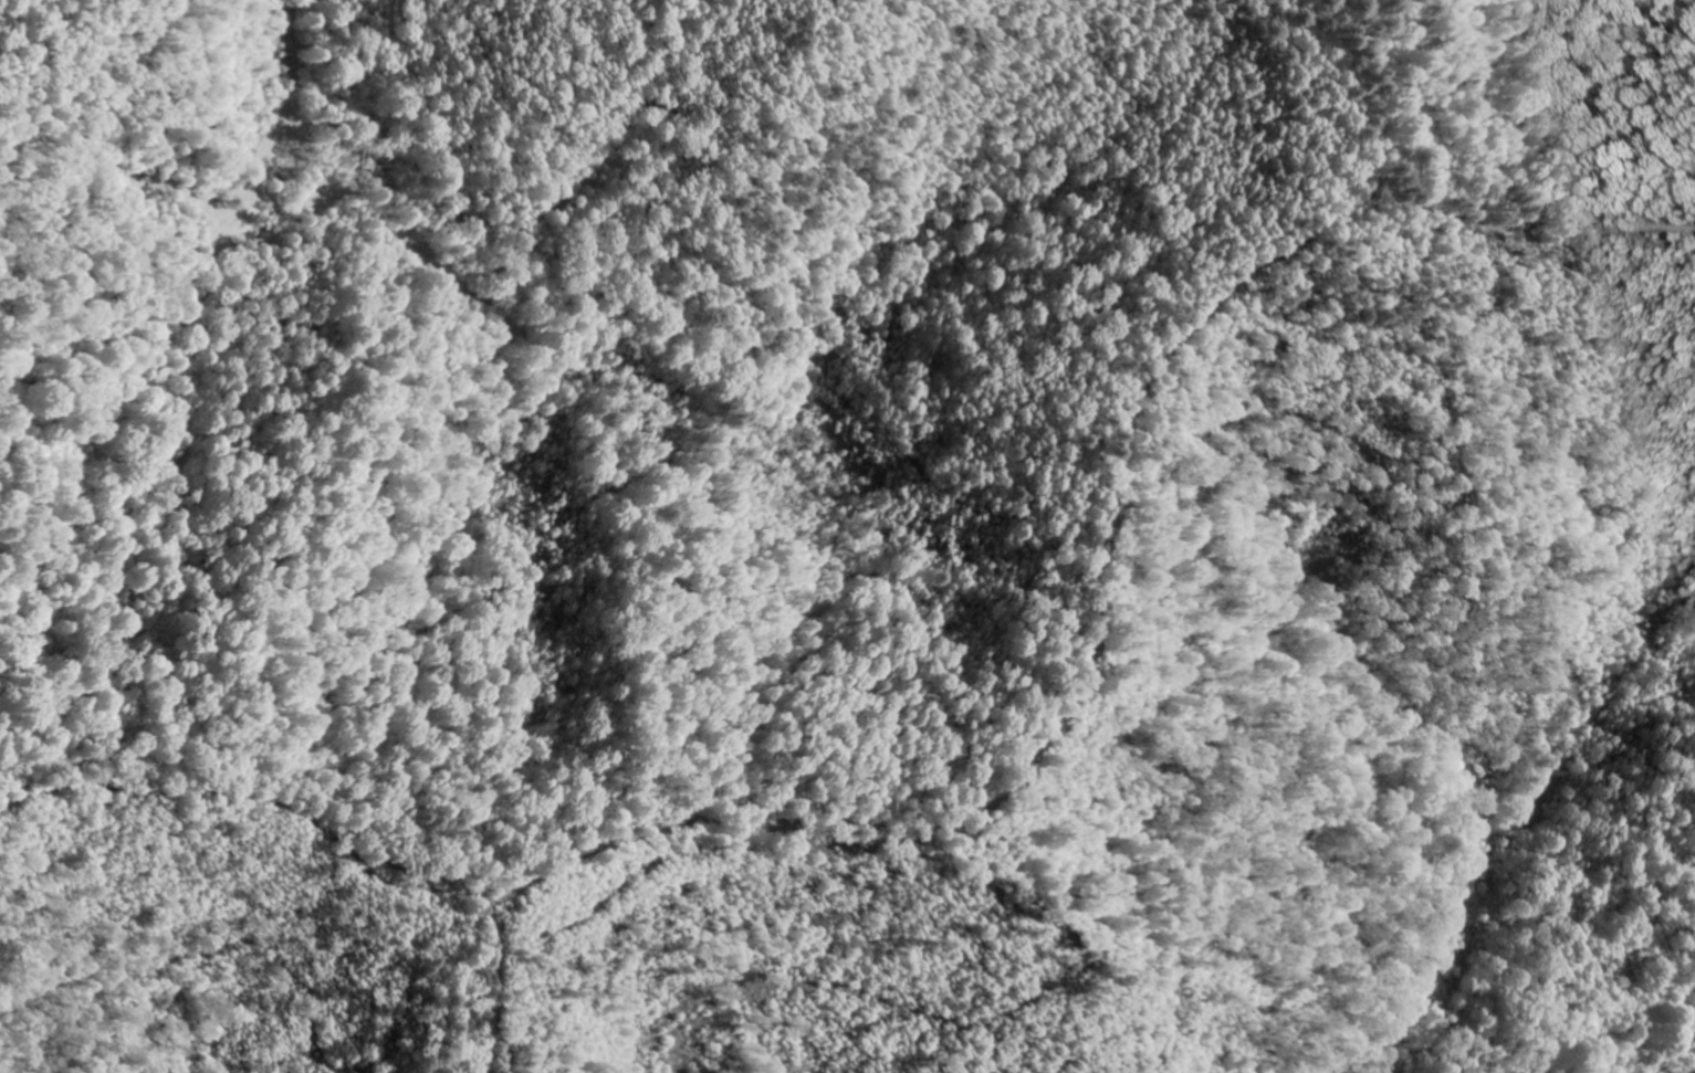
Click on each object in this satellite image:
road: (1103, 559)

